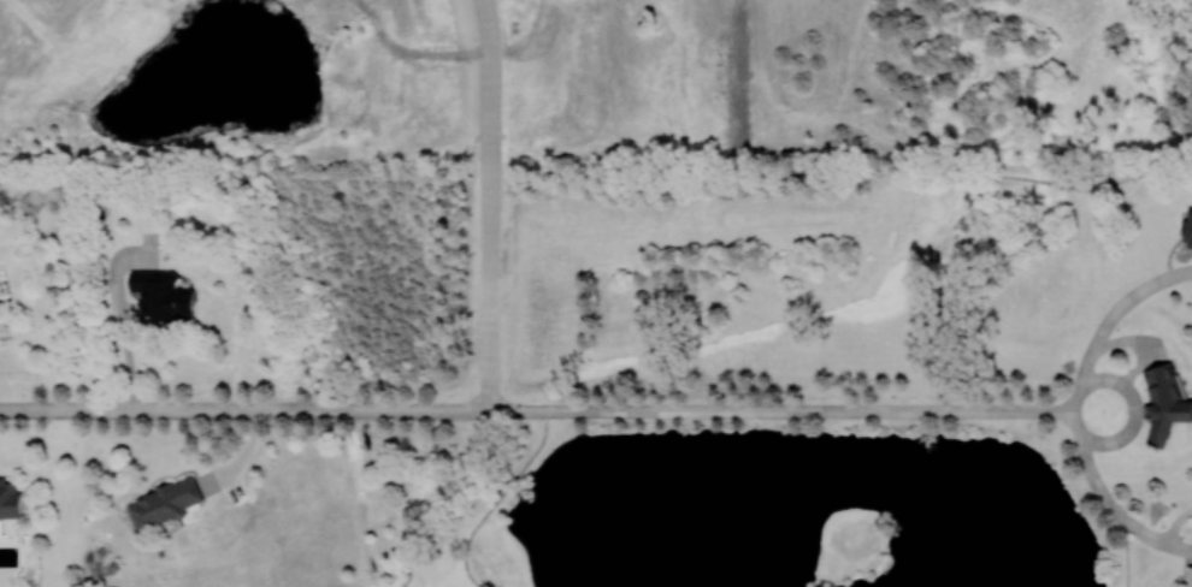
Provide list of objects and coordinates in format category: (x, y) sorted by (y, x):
road: (489, 69)
road: (491, 148)
building: (33, 204)
building: (1188, 230)
road: (490, 284)
building: (161, 295)
road: (124, 334)
building: (1164, 403)
road: (1135, 408)
road: (244, 409)
road: (878, 409)
road: (496, 498)
road: (1107, 498)
building: (10, 499)
building: (164, 503)
road: (1127, 553)
building: (1190, 576)
road: (844, 582)

